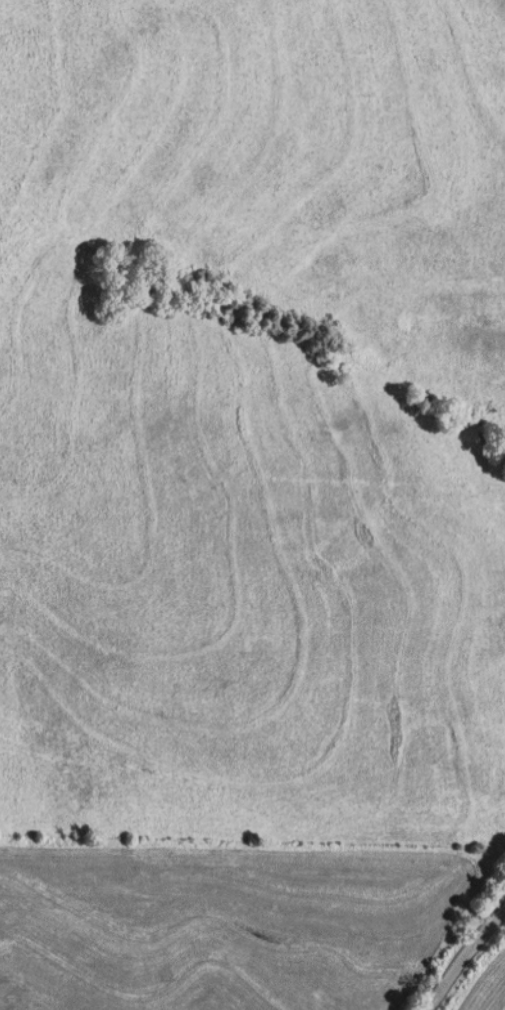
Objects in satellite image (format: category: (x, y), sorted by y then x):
road: (463, 957)

